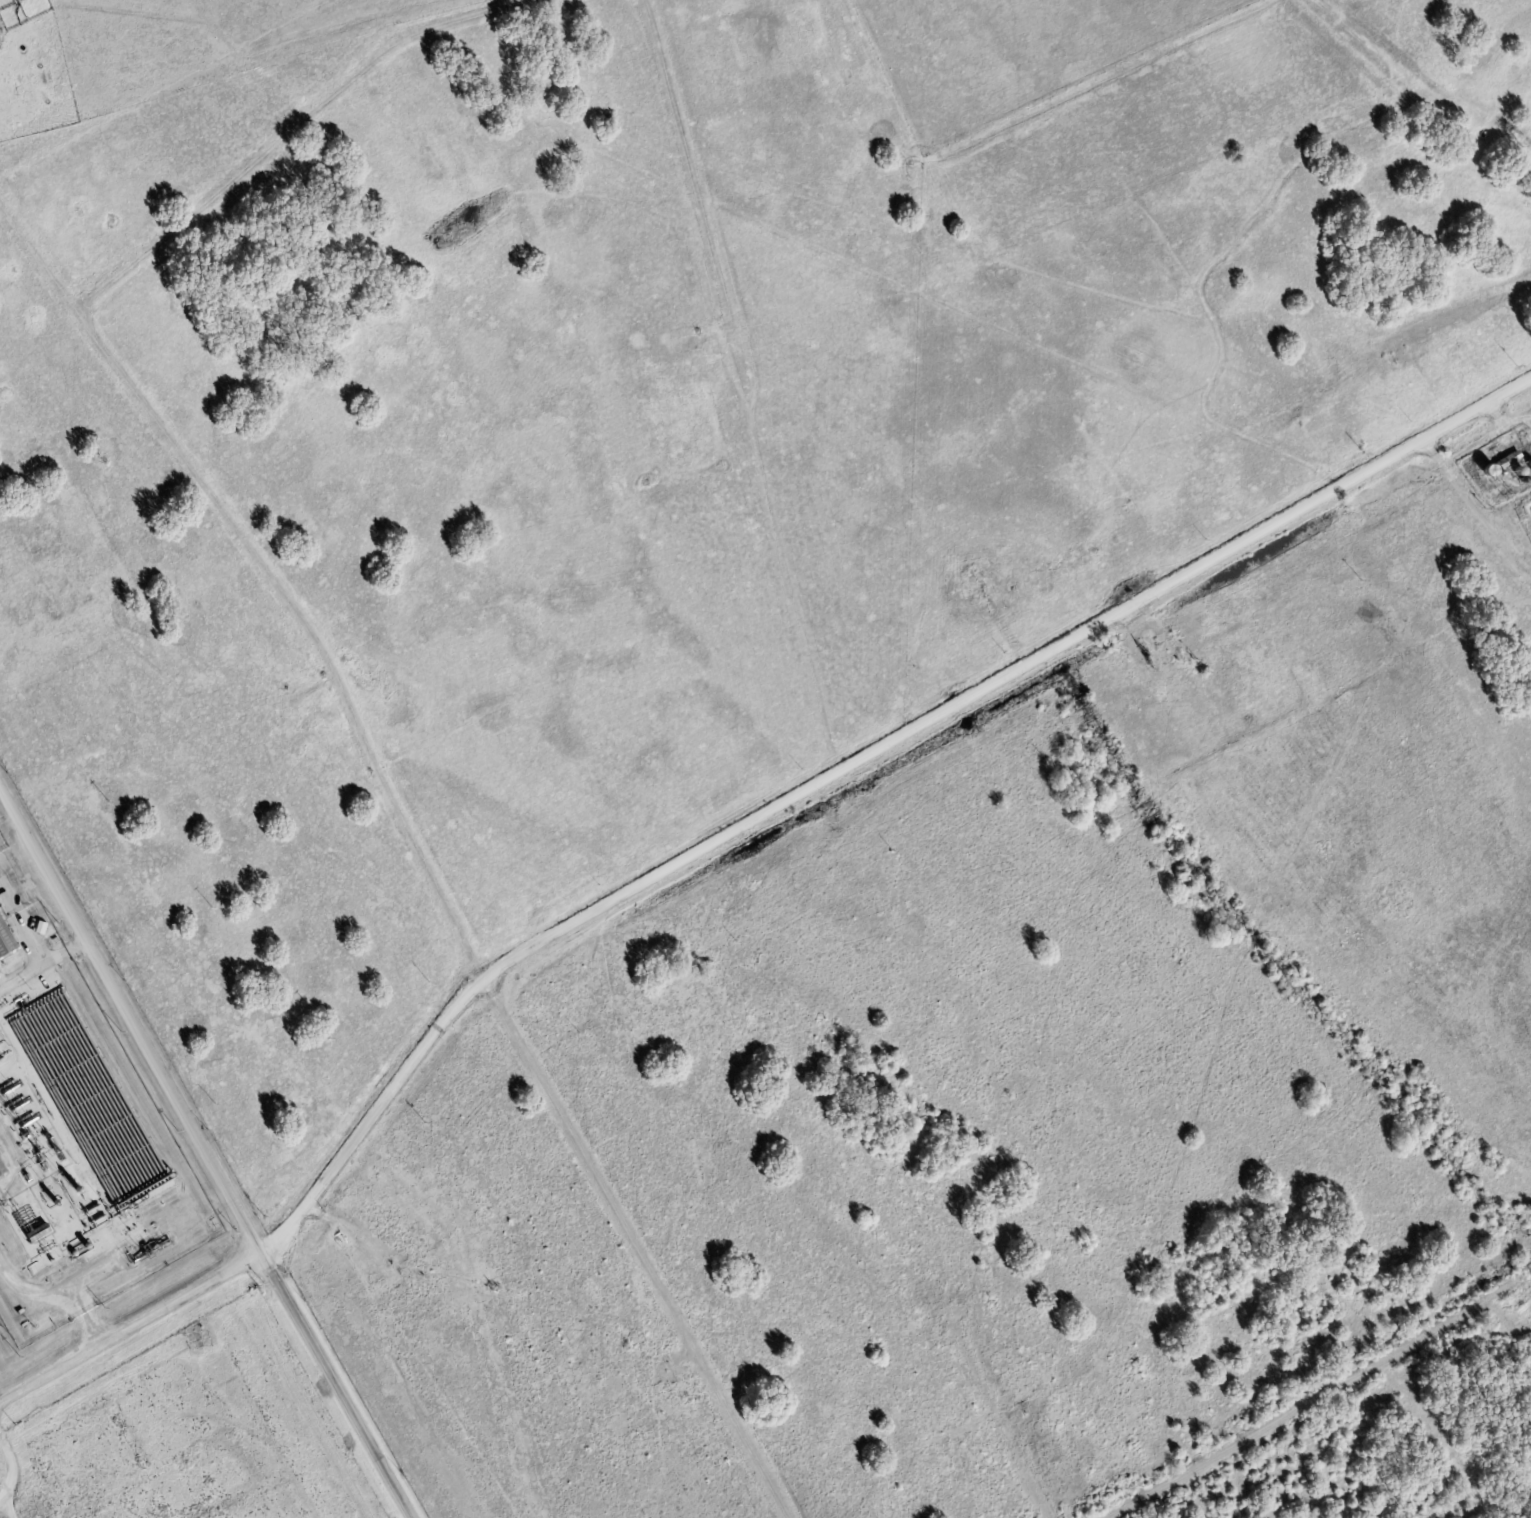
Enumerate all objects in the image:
road: (1478, 507)
road: (1008, 681)
building: (10, 902)
building: (5, 941)
road: (43, 965)
road: (130, 1019)
road: (371, 1119)
building: (1, 1169)
road: (637, 1249)
road: (62, 1288)
road: (128, 1328)
road: (333, 1386)
road: (1319, 1399)

